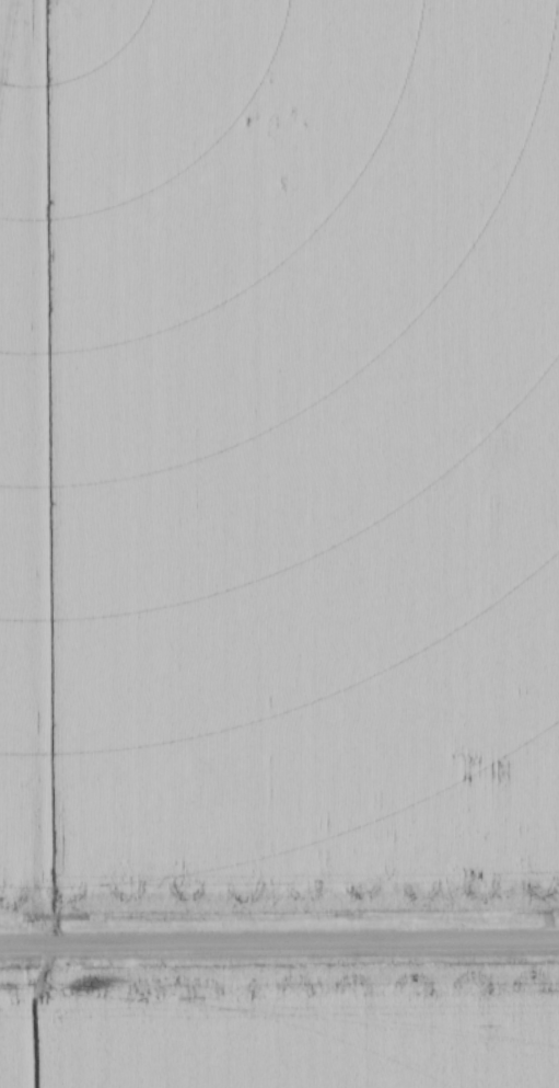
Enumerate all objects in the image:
road: (279, 943)

